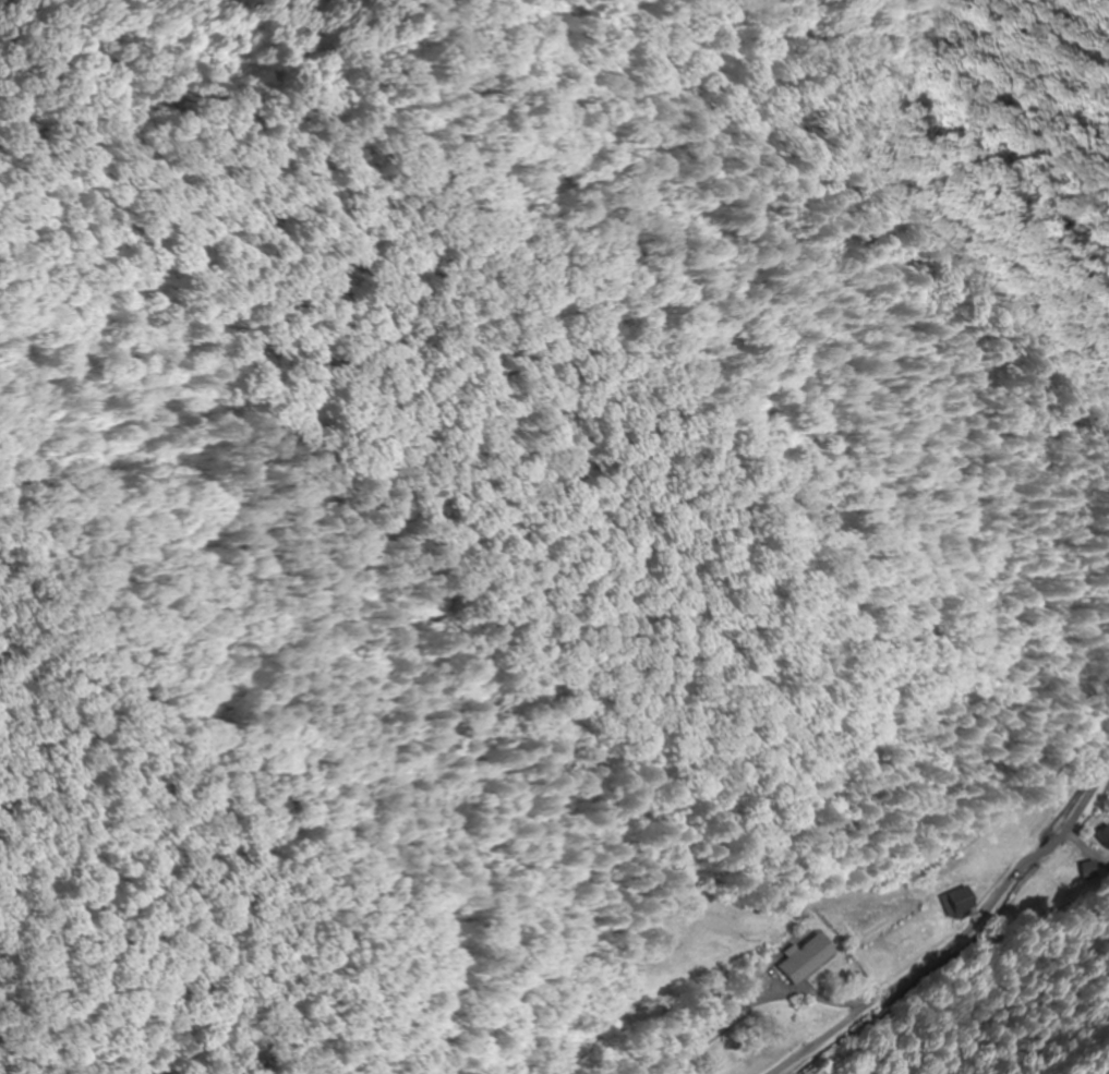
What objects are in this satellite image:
building: (1105, 836)
building: (1092, 871)
building: (959, 903)
road: (873, 944)
building: (806, 960)
building: (721, 1022)

